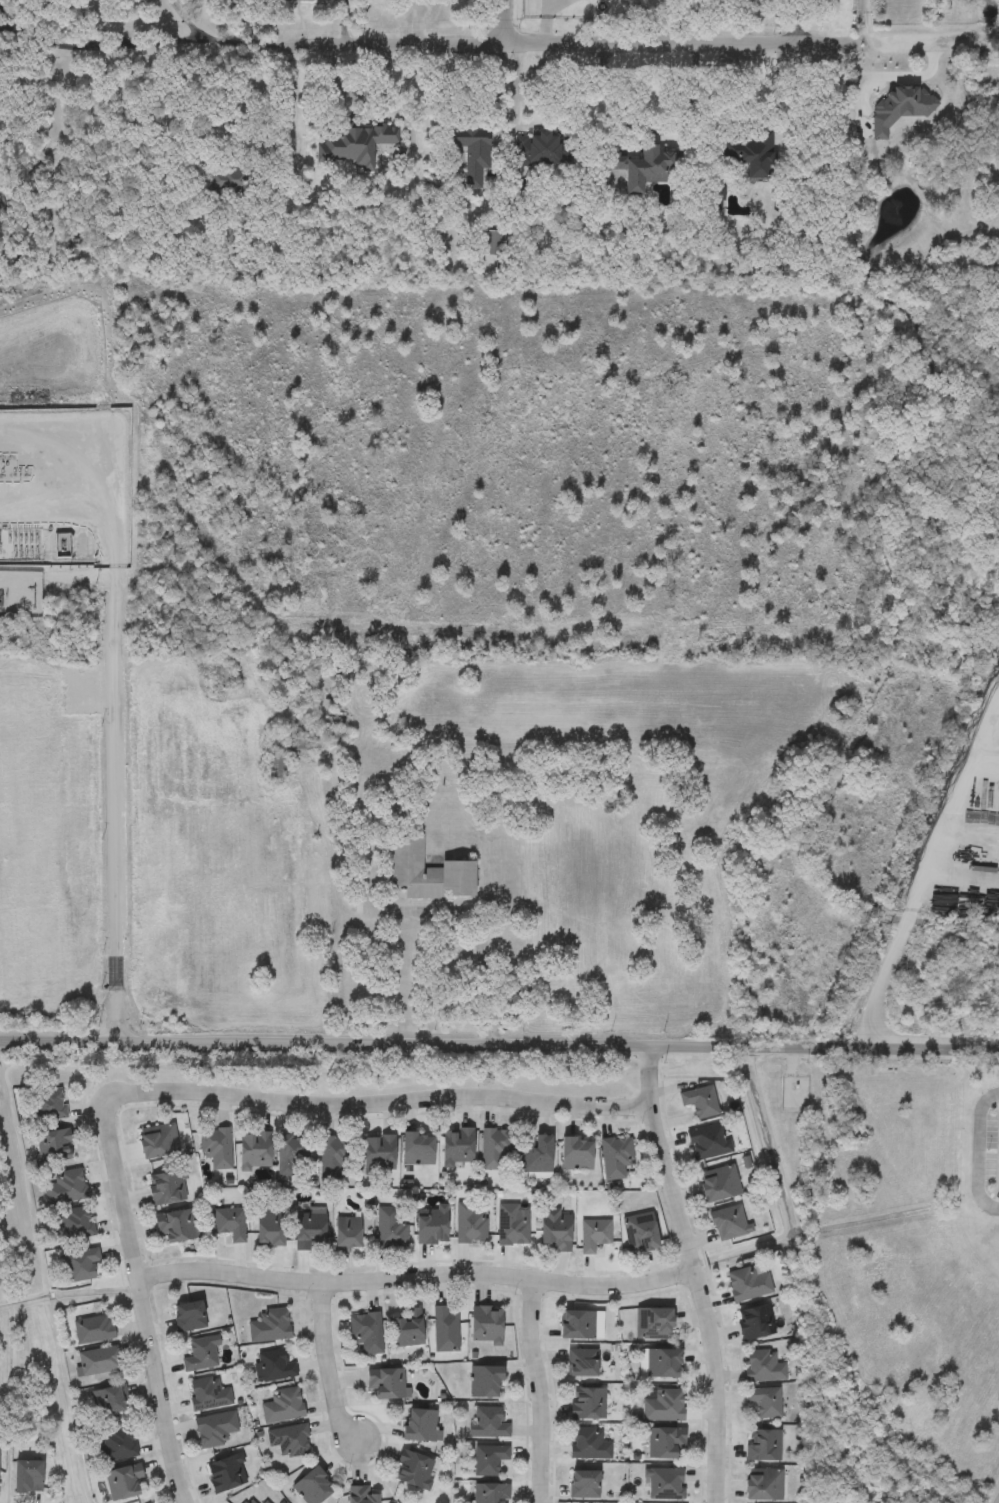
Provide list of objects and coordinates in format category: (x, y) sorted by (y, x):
building: (297, 0)
road: (346, 18)
road: (187, 20)
road: (505, 21)
road: (7, 29)
road: (362, 36)
road: (932, 38)
road: (863, 39)
road: (682, 40)
road: (104, 47)
road: (912, 77)
road: (336, 84)
road: (857, 86)
road: (514, 88)
road: (246, 94)
road: (390, 105)
road: (749, 122)
road: (647, 126)
building: (357, 144)
building: (539, 151)
building: (474, 153)
building: (750, 153)
building: (647, 168)
building: (493, 244)
building: (72, 251)
road: (104, 519)
building: (289, 746)
building: (276, 767)
road: (115, 814)
building: (430, 872)
road: (904, 929)
road: (478, 932)
road: (499, 1043)
building: (700, 1101)
road: (375, 1104)
building: (47, 1105)
building: (159, 1141)
building: (710, 1142)
building: (55, 1146)
building: (216, 1147)
building: (459, 1147)
building: (419, 1149)
building: (496, 1150)
building: (256, 1151)
road: (979, 1151)
building: (380, 1152)
building: (538, 1154)
building: (578, 1154)
building: (293, 1156)
building: (335, 1156)
building: (616, 1157)
building: (720, 1183)
building: (168, 1187)
building: (66, 1188)
building: (231, 1223)
building: (729, 1223)
building: (73, 1225)
building: (470, 1225)
building: (514, 1225)
building: (178, 1226)
building: (270, 1226)
building: (310, 1226)
building: (433, 1226)
building: (390, 1228)
building: (557, 1230)
building: (642, 1233)
building: (348, 1234)
building: (595, 1234)
building: (81, 1264)
road: (696, 1273)
road: (417, 1275)
building: (749, 1282)
road: (142, 1300)
building: (190, 1316)
building: (758, 1322)
building: (655, 1323)
building: (487, 1325)
building: (270, 1326)
building: (582, 1326)
building: (408, 1329)
building: (94, 1330)
building: (446, 1330)
building: (366, 1332)
building: (201, 1355)
building: (98, 1362)
road: (328, 1362)
building: (582, 1363)
building: (661, 1364)
building: (274, 1366)
building: (764, 1367)
building: (486, 1382)
building: (389, 1383)
road: (538, 1391)
building: (209, 1395)
building: (109, 1401)
building: (765, 1402)
building: (588, 1404)
building: (284, 1406)
building: (663, 1406)
building: (489, 1423)
building: (422, 1426)
building: (215, 1429)
building: (290, 1440)
building: (667, 1444)
building: (119, 1445)
building: (590, 1445)
building: (763, 1446)
building: (489, 1460)
building: (415, 1469)
building: (227, 1474)
building: (29, 1477)
building: (124, 1482)
building: (665, 1484)
building: (585, 1485)
building: (765, 1485)
building: (314, 1487)
building: (491, 1494)
building: (362, 1495)
building: (249, 1501)
building: (266, 1502)

